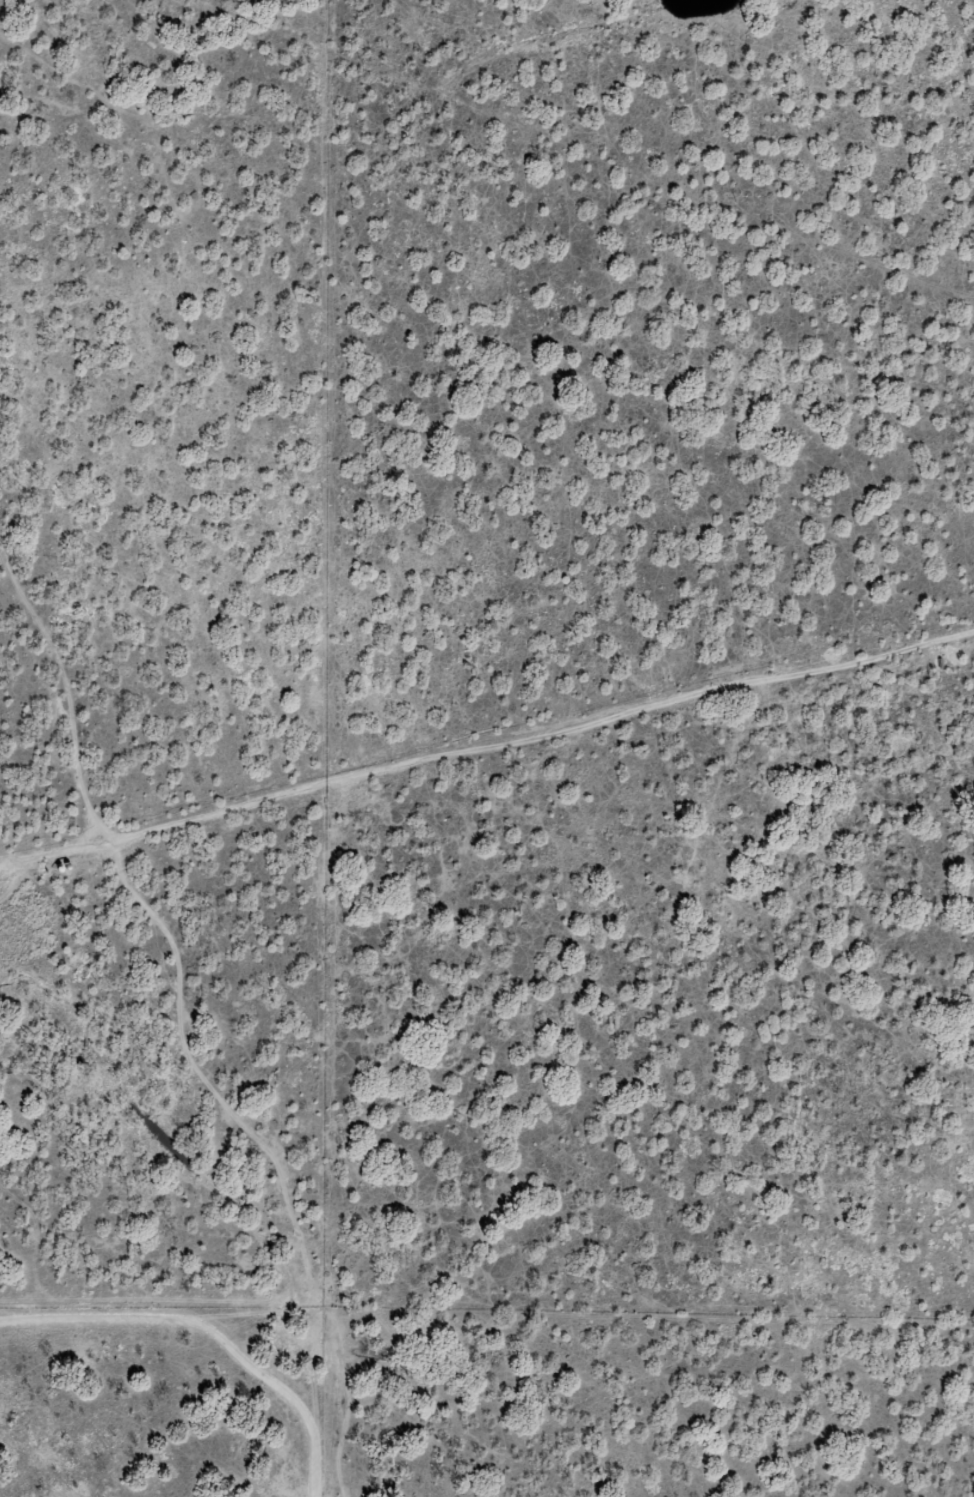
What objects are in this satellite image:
road: (485, 754)
road: (169, 994)

